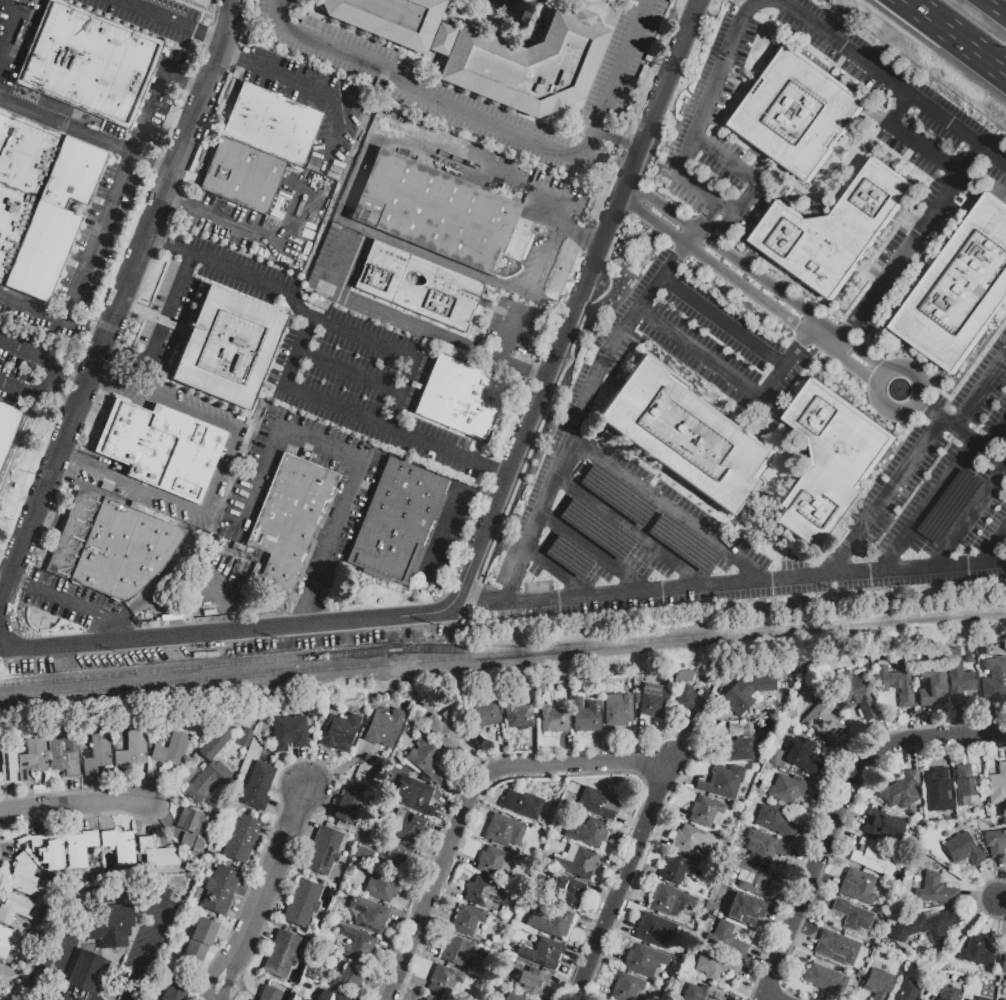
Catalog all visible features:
road: (546, 3)
road: (596, 3)
road: (1000, 4)
road: (455, 10)
road: (618, 12)
road: (159, 15)
building: (395, 21)
road: (8, 36)
road: (210, 36)
road: (514, 38)
road: (953, 38)
road: (725, 61)
building: (90, 63)
building: (528, 66)
road: (192, 81)
road: (320, 91)
road: (656, 99)
road: (926, 107)
building: (798, 114)
building: (272, 124)
road: (69, 127)
road: (500, 127)
road: (619, 139)
road: (911, 139)
road: (158, 162)
building: (45, 163)
road: (487, 172)
building: (243, 174)
road: (750, 180)
road: (632, 186)
road: (625, 202)
building: (440, 214)
road: (661, 224)
road: (703, 224)
building: (834, 229)
road: (105, 232)
road: (578, 234)
road: (259, 235)
road: (912, 241)
building: (32, 243)
road: (170, 245)
road: (543, 259)
road: (763, 278)
building: (418, 286)
building: (960, 290)
road: (550, 302)
road: (644, 304)
road: (122, 306)
road: (169, 307)
road: (779, 311)
road: (414, 323)
road: (726, 323)
road: (332, 328)
road: (88, 330)
building: (226, 347)
road: (29, 354)
road: (126, 355)
road: (526, 368)
road: (351, 374)
road: (736, 376)
road: (70, 381)
road: (49, 382)
road: (22, 390)
road: (539, 391)
road: (65, 395)
road: (918, 397)
building: (461, 398)
road: (363, 418)
building: (7, 426)
road: (962, 431)
building: (686, 435)
road: (996, 435)
building: (159, 447)
road: (358, 459)
road: (601, 460)
building: (830, 461)
road: (915, 466)
road: (224, 471)
road: (480, 495)
road: (926, 509)
road: (968, 520)
building: (289, 521)
building: (396, 522)
road: (445, 532)
road: (640, 536)
building: (110, 545)
road: (995, 550)
road: (602, 558)
road: (569, 577)
road: (20, 581)
road: (756, 587)
road: (485, 594)
road: (77, 601)
road: (239, 632)
road: (118, 635)
railway: (502, 653)
railway: (275, 660)
building: (958, 680)
building: (994, 680)
building: (895, 683)
building: (931, 686)
building: (852, 694)
building: (739, 696)
railway: (78, 697)
building: (653, 701)
building: (687, 702)
building: (617, 710)
building: (484, 713)
building: (518, 716)
building: (585, 716)
road: (990, 718)
road: (959, 719)
building: (553, 720)
building: (824, 723)
road: (926, 723)
road: (908, 724)
building: (384, 727)
building: (289, 732)
building: (339, 732)
road: (880, 734)
road: (700, 735)
building: (449, 736)
road: (642, 740)
road: (680, 740)
road: (1005, 742)
building: (216, 743)
road: (499, 746)
road: (613, 746)
road: (533, 747)
road: (597, 748)
building: (171, 749)
building: (64, 750)
road: (564, 750)
building: (735, 750)
road: (962, 750)
building: (132, 751)
road: (941, 751)
building: (97, 753)
road: (852, 754)
road: (912, 754)
building: (422, 755)
building: (795, 755)
building: (32, 759)
road: (693, 759)
road: (339, 764)
building: (7, 766)
road: (301, 766)
road: (314, 766)
building: (436, 775)
road: (837, 778)
road: (680, 780)
building: (723, 781)
building: (206, 782)
road: (157, 784)
building: (257, 784)
building: (998, 784)
road: (176, 785)
road: (126, 787)
building: (968, 788)
building: (788, 790)
road: (92, 791)
building: (901, 791)
road: (73, 792)
road: (455, 792)
building: (938, 792)
road: (488, 795)
road: (29, 797)
road: (829, 797)
road: (10, 798)
building: (413, 798)
road: (469, 799)
building: (598, 802)
road: (317, 803)
building: (349, 803)
road: (73, 807)
road: (280, 807)
building: (522, 807)
road: (670, 809)
road: (162, 810)
building: (705, 811)
road: (841, 811)
road: (88, 817)
road: (108, 817)
road: (450, 817)
road: (851, 819)
road: (40, 821)
building: (775, 822)
road: (632, 823)
building: (882, 825)
building: (405, 826)
road: (302, 827)
road: (469, 828)
building: (190, 831)
road: (441, 831)
building: (504, 831)
building: (587, 832)
road: (270, 833)
road: (842, 836)
building: (240, 837)
road: (657, 837)
road: (625, 839)
building: (688, 839)
building: (995, 843)
building: (119, 845)
building: (763, 847)
building: (79, 848)
building: (962, 849)
building: (323, 850)
building: (48, 851)
building: (153, 851)
road: (7, 852)
building: (362, 854)
building: (394, 858)
building: (876, 858)
road: (461, 859)
road: (804, 859)
road: (429, 861)
building: (493, 862)
building: (576, 862)
road: (271, 868)
road: (614, 868)
road: (645, 868)
building: (679, 869)
building: (752, 877)
building: (26, 878)
road: (826, 879)
road: (1002, 880)
road: (626, 881)
road: (991, 882)
building: (381, 885)
building: (857, 886)
road: (448, 889)
building: (220, 890)
building: (568, 891)
building: (935, 891)
building: (485, 893)
road: (603, 897)
road: (120, 898)
road: (634, 898)
road: (980, 898)
road: (1003, 900)
building: (669, 901)
road: (787, 902)
road: (818, 902)
building: (302, 903)
building: (16, 908)
road: (982, 909)
road: (270, 910)
building: (745, 910)
road: (239, 914)
building: (368, 914)
road: (437, 915)
building: (852, 916)
road: (781, 919)
building: (466, 920)
road: (405, 921)
building: (556, 923)
road: (996, 923)
building: (931, 924)
road: (623, 925)
road: (591, 926)
building: (115, 927)
road: (262, 930)
building: (655, 930)
parking lot: (71, 935)
road: (229, 938)
building: (200, 940)
building: (8, 941)
building: (725, 941)
road: (801, 941)
building: (356, 944)
road: (424, 947)
building: (837, 948)
road: (393, 949)
building: (454, 949)
building: (282, 952)
building: (978, 952)
building: (541, 953)
road: (580, 956)
building: (1003, 956)
road: (611, 958)
road: (764, 960)
building: (641, 961)
building: (714, 965)
road: (212, 970)
building: (4, 974)
building: (87, 974)
road: (229, 975)
building: (348, 978)
road: (758, 978)
building: (444, 979)
building: (825, 979)
road: (381, 980)
road: (412, 980)
building: (533, 984)
building: (877, 984)
road: (568, 987)
building: (626, 987)
building: (177, 990)
building: (907, 991)
building: (697, 992)
building: (268, 993)
building: (948, 993)
building: (331, 995)
building: (513, 997)
building: (985, 997)
parking lot: (23, 998)
building: (430, 998)
road: (587, 998)
building: (981, 998)
building: (104, 999)
building: (305, 999)
building: (307, 999)
road: (770, 999)
building: (965, 999)
building: (1003, 999)

